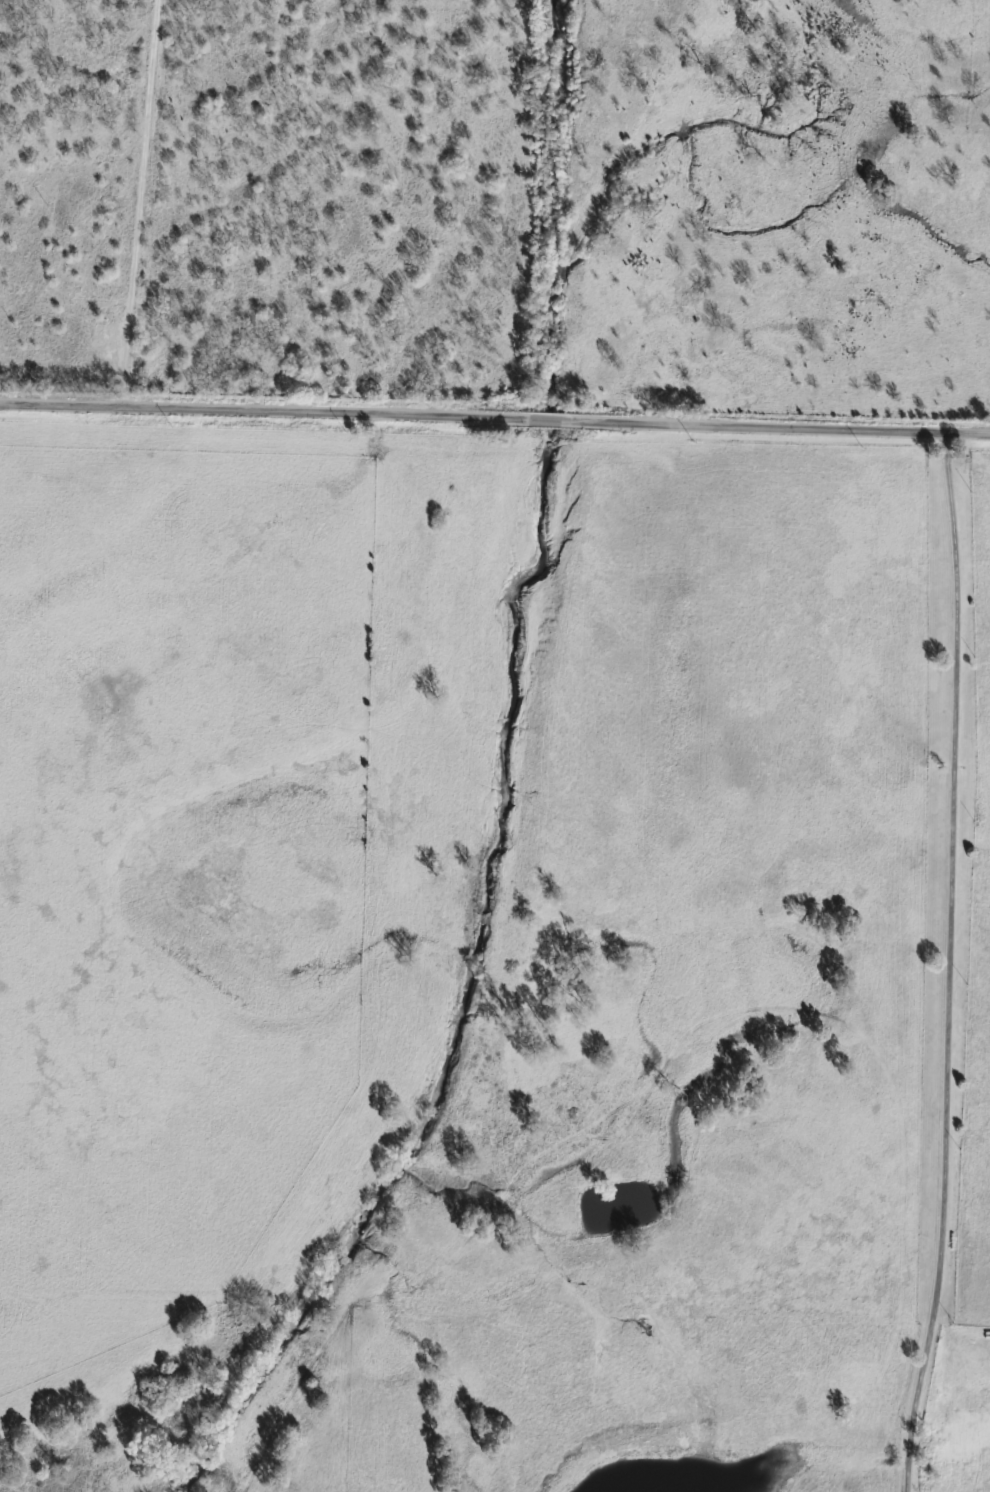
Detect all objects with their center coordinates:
road: (140, 205)
road: (62, 386)
road: (494, 424)
road: (943, 966)

